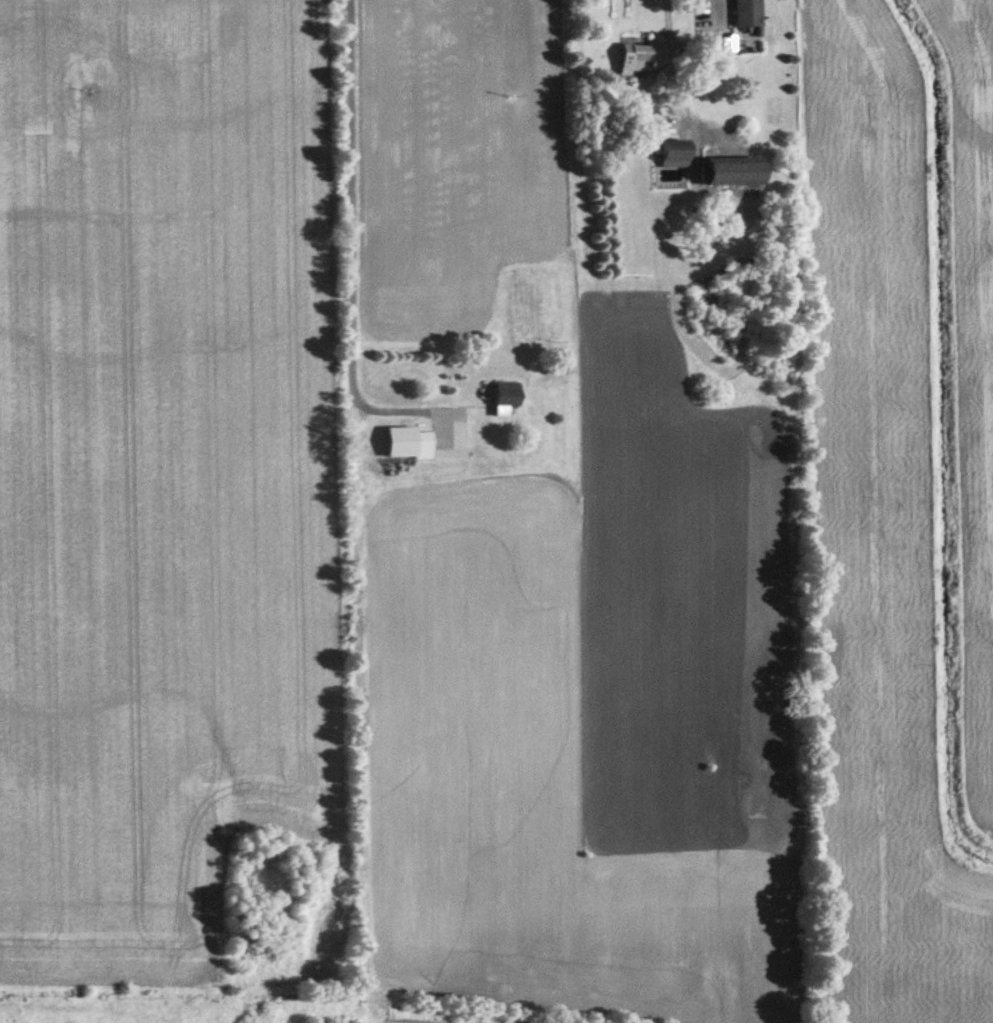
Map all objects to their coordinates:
building: (748, 13)
road: (673, 57)
building: (637, 58)
building: (676, 154)
building: (736, 171)
road: (344, 237)
building: (507, 398)
building: (409, 444)

